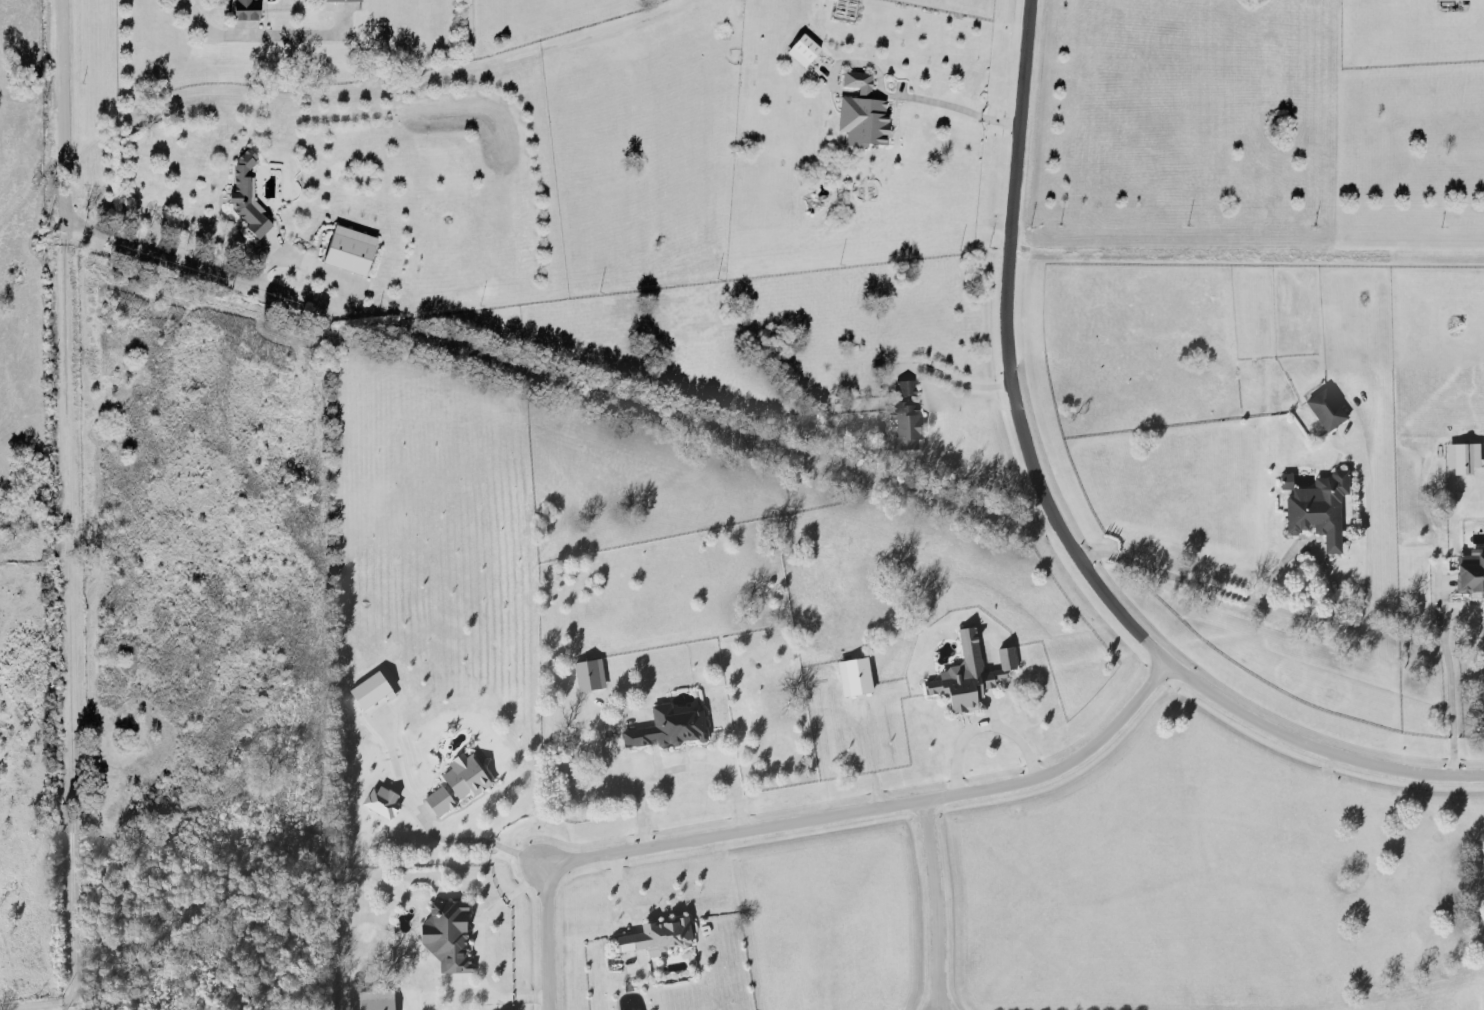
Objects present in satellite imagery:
building: (245, 8)
road: (196, 14)
building: (802, 47)
road: (955, 104)
building: (861, 110)
road: (61, 119)
building: (247, 191)
building: (348, 247)
road: (240, 273)
road: (951, 377)
building: (904, 385)
building: (1326, 411)
building: (905, 424)
building: (1462, 459)
building: (1319, 510)
road: (1053, 519)
road: (1366, 553)
building: (1470, 576)
road: (1283, 613)
road: (1442, 618)
road: (68, 621)
building: (969, 675)
building: (590, 676)
building: (855, 678)
building: (370, 692)
road: (982, 726)
building: (670, 730)
road: (681, 770)
building: (460, 785)
building: (381, 803)
road: (877, 810)
road: (480, 845)
road: (936, 906)
park: (213, 920)
building: (448, 936)
road: (545, 938)
building: (658, 939)
road: (476, 948)
building: (376, 1001)
road: (37, 1005)

